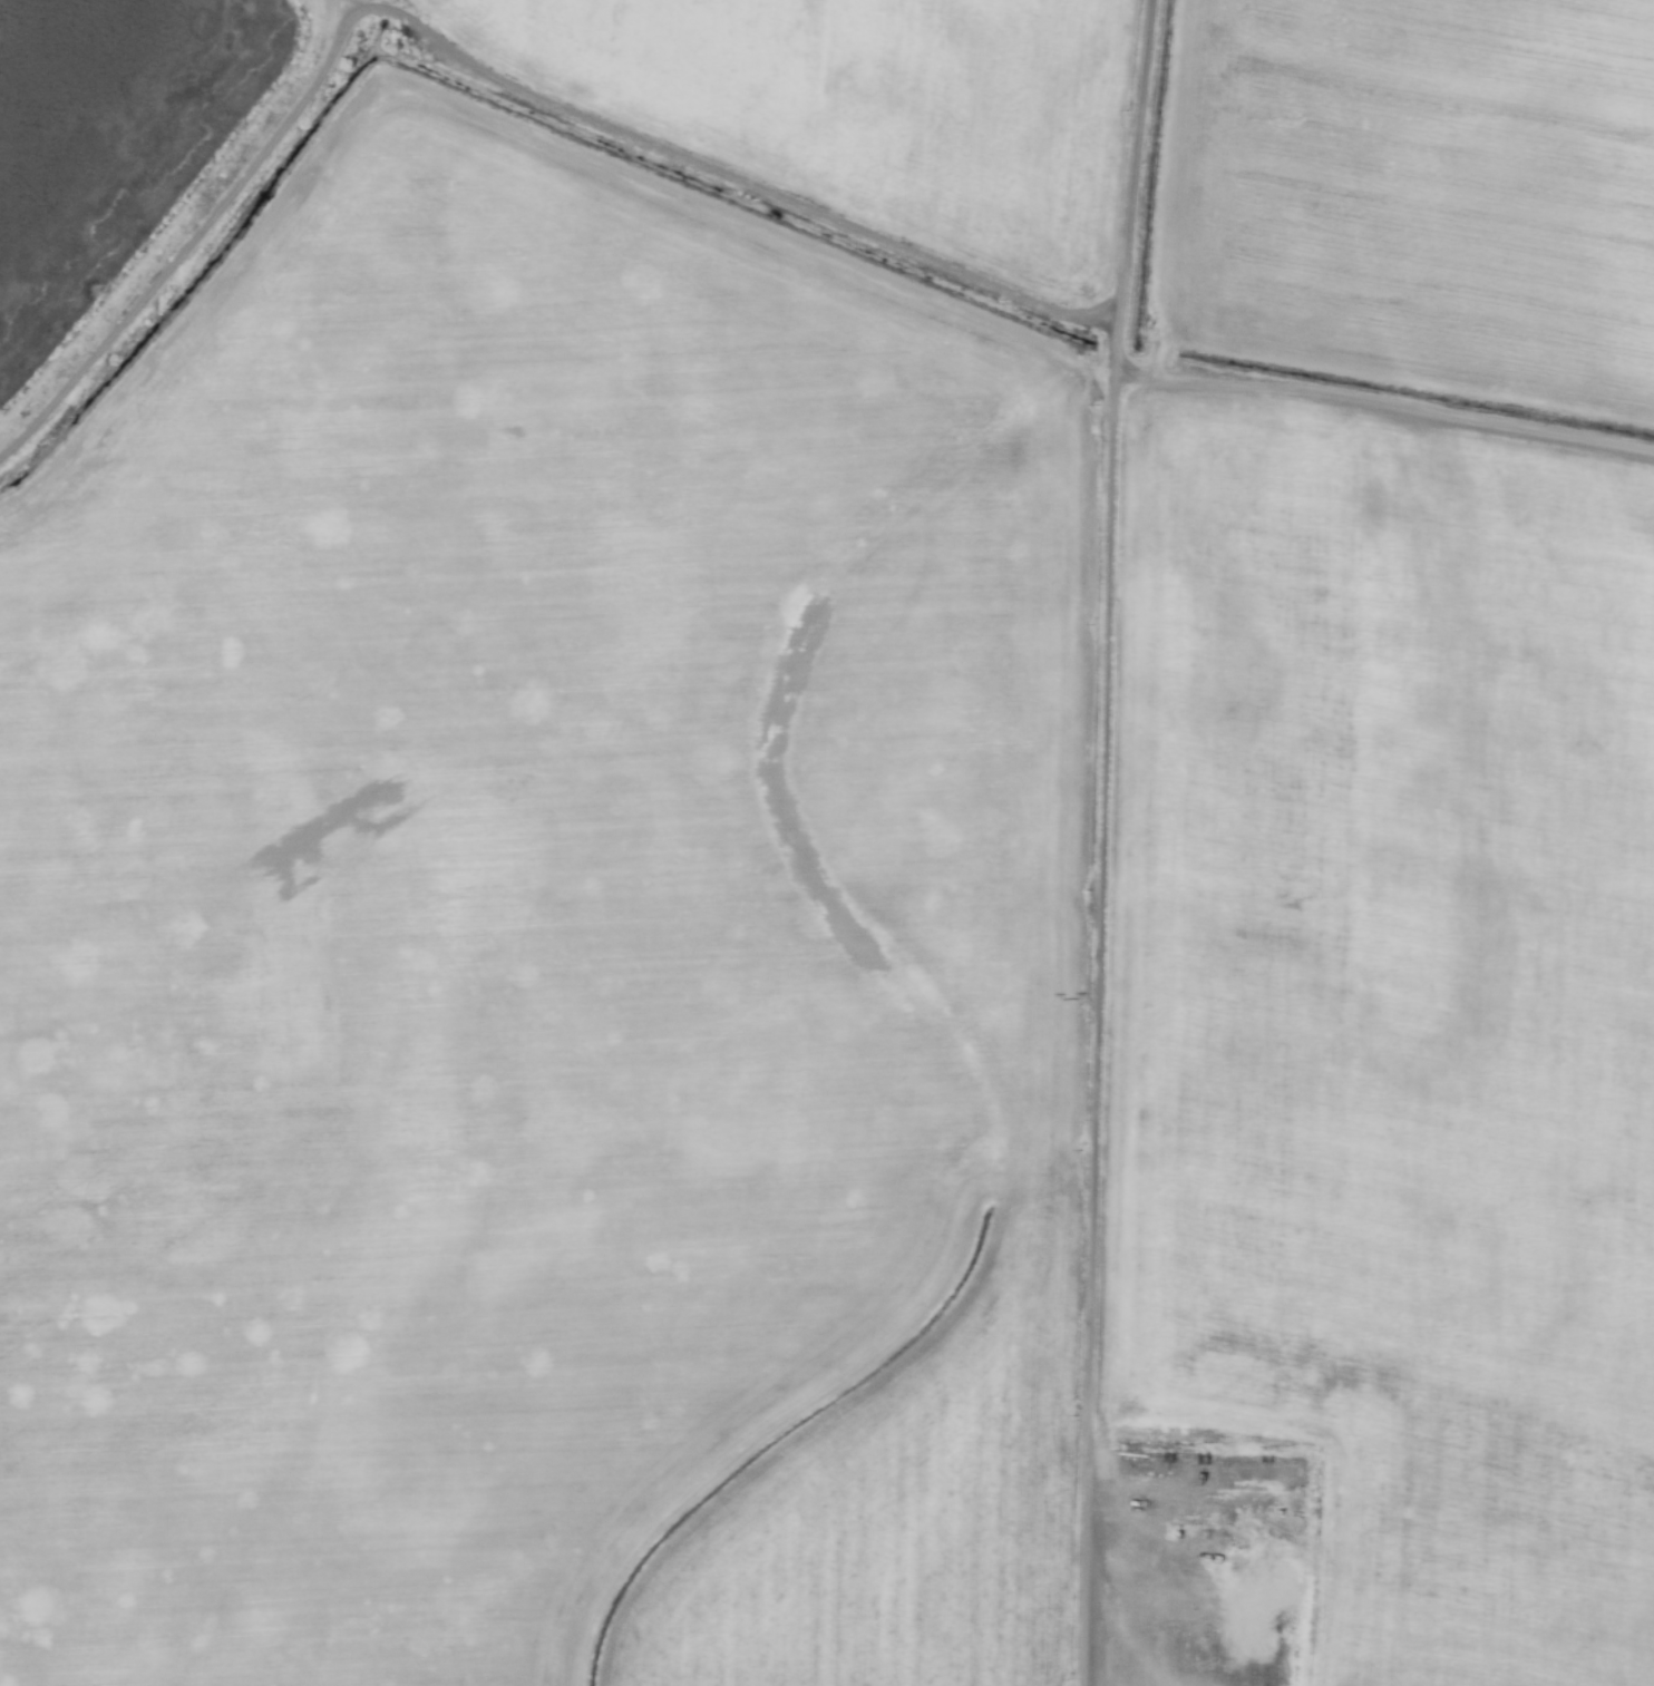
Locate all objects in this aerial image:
road: (1105, 841)

